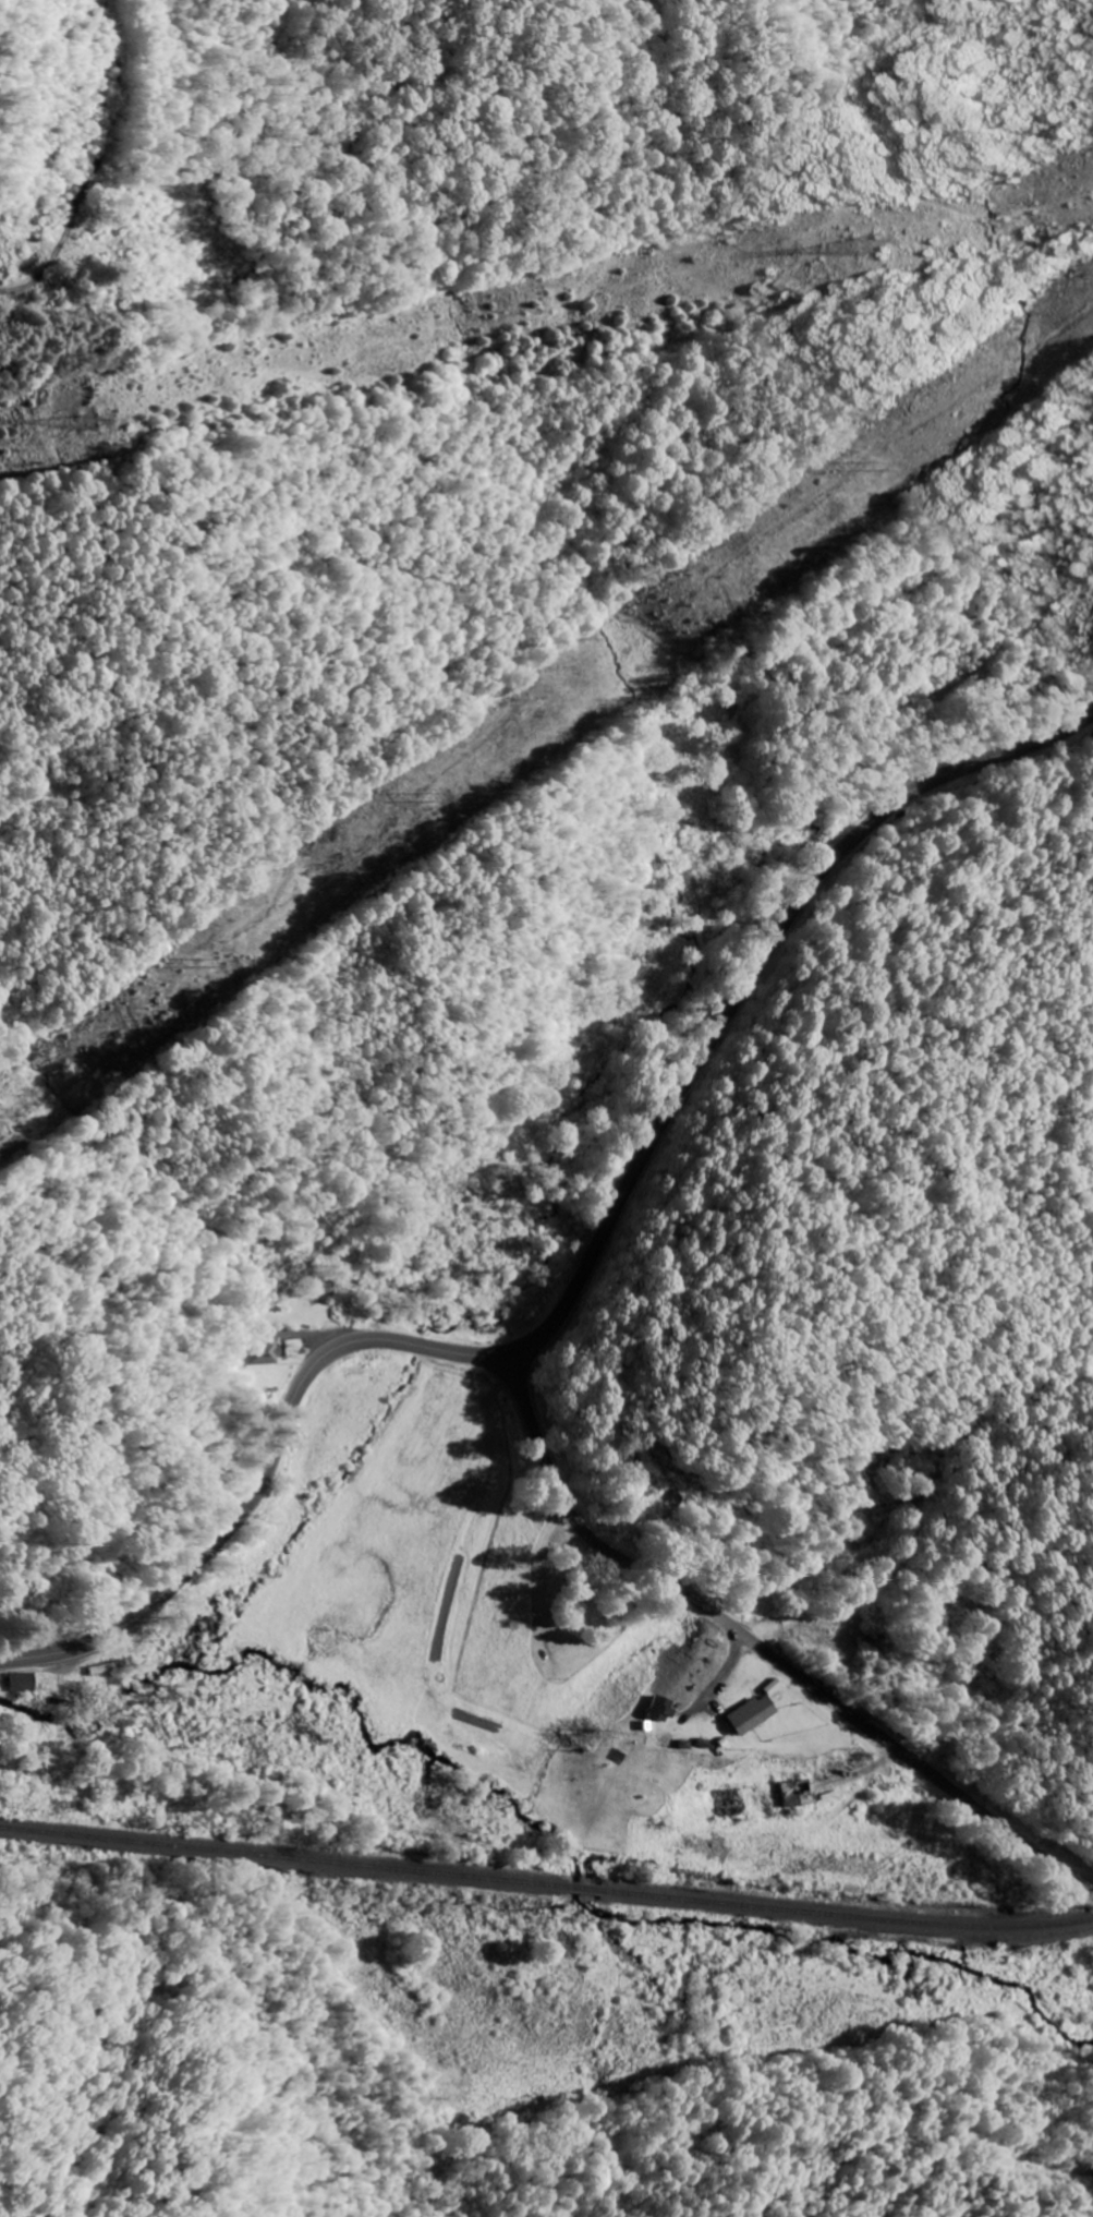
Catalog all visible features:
road: (101, 154)
power tower: (873, 245)
power tower: (86, 420)
road: (160, 1236)
road: (586, 1269)
building: (260, 1351)
road: (762, 1648)
building: (102, 1667)
building: (21, 1680)
building: (660, 1709)
building: (750, 1713)
building: (796, 1792)
railway: (546, 1884)

